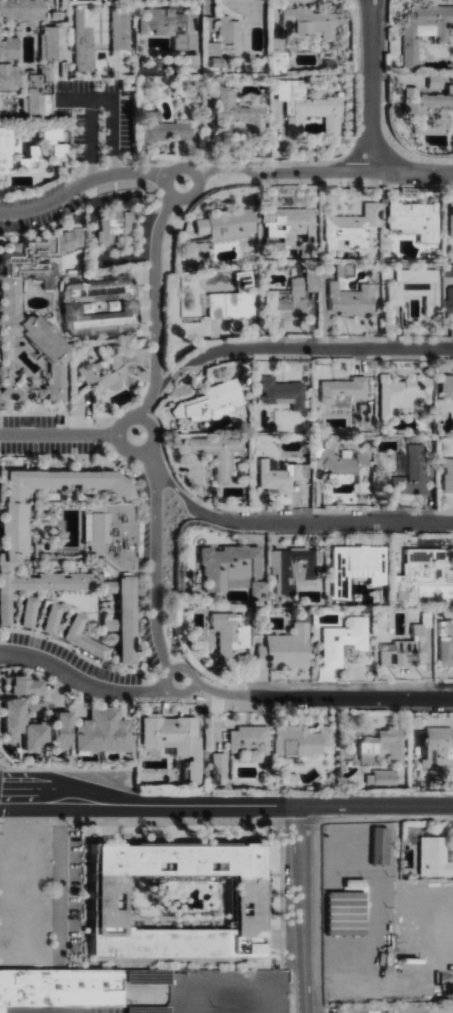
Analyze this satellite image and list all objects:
building: (314, 20)
building: (2, 28)
building: (426, 28)
building: (174, 29)
building: (122, 30)
building: (233, 30)
building: (85, 38)
building: (56, 41)
building: (214, 54)
building: (10, 76)
road: (372, 85)
building: (38, 90)
road: (93, 97)
building: (239, 109)
building: (310, 110)
building: (165, 128)
building: (60, 148)
building: (7, 150)
road: (222, 168)
road: (312, 170)
road: (412, 172)
road: (81, 187)
road: (167, 190)
building: (452, 218)
building: (417, 219)
building: (291, 222)
building: (116, 223)
building: (229, 223)
building: (354, 226)
building: (201, 250)
road: (90, 255)
building: (344, 269)
building: (449, 270)
building: (244, 278)
building: (313, 280)
building: (417, 289)
building: (353, 299)
building: (287, 300)
building: (451, 302)
building: (216, 305)
road: (157, 306)
building: (101, 308)
building: (34, 315)
road: (319, 349)
building: (103, 366)
road: (171, 374)
building: (106, 376)
building: (447, 386)
building: (345, 391)
building: (284, 392)
building: (404, 393)
building: (213, 401)
building: (365, 414)
road: (124, 425)
road: (61, 435)
building: (417, 448)
building: (220, 453)
road: (152, 460)
building: (350, 465)
building: (449, 473)
building: (279, 477)
building: (413, 479)
road: (176, 489)
road: (323, 522)
building: (18, 525)
building: (116, 533)
building: (359, 566)
building: (235, 568)
building: (294, 568)
road: (155, 571)
building: (426, 573)
building: (112, 586)
building: (31, 611)
building: (54, 617)
building: (129, 619)
building: (112, 624)
building: (232, 635)
building: (85, 637)
building: (345, 639)
building: (446, 643)
building: (407, 647)
building: (287, 648)
road: (167, 678)
road: (82, 682)
building: (28, 685)
road: (217, 691)
road: (347, 697)
building: (25, 726)
building: (64, 728)
building: (106, 731)
building: (328, 733)
building: (250, 739)
building: (297, 739)
building: (177, 740)
building: (385, 745)
building: (439, 746)
building: (221, 768)
building: (383, 777)
road: (225, 806)
building: (435, 856)
road: (66, 870)
building: (105, 903)
road: (301, 909)
building: (60, 989)
parking lot: (395, 1011)

